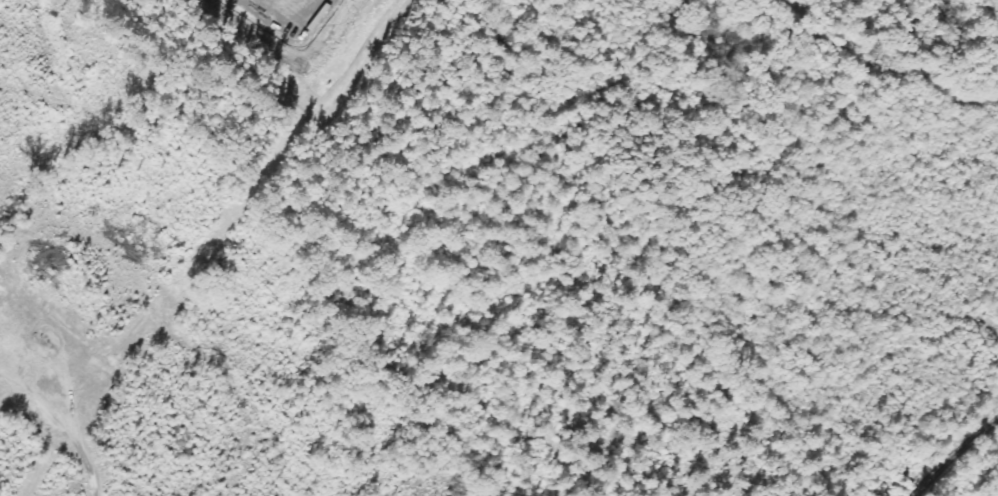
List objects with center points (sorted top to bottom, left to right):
road: (971, 461)

